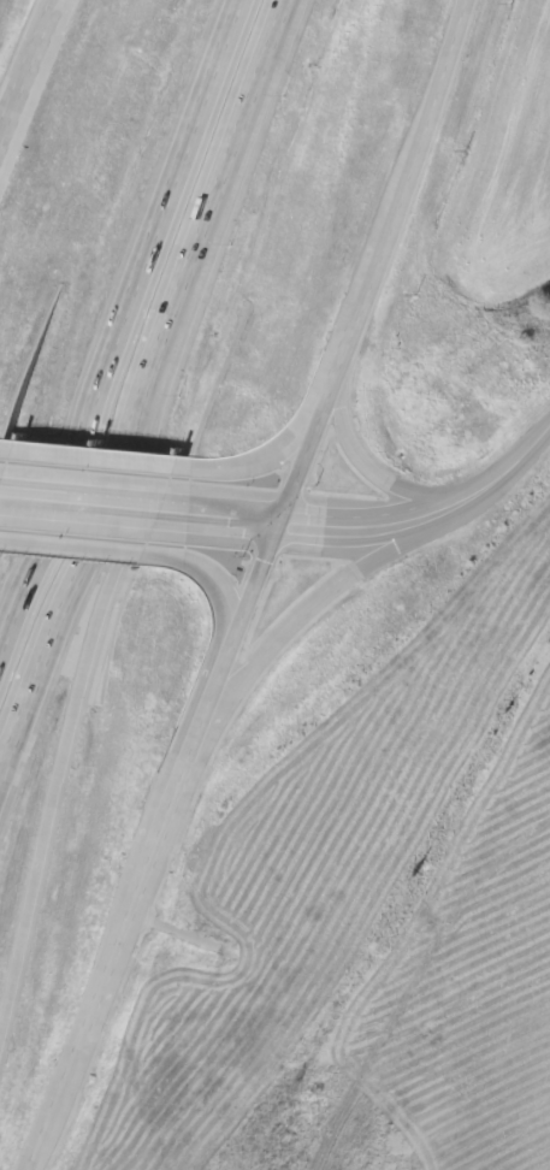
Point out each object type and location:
road: (25, 64)
road: (374, 261)
road: (117, 320)
road: (141, 383)
road: (272, 453)
road: (104, 457)
road: (384, 479)
road: (495, 480)
road: (87, 502)
road: (225, 516)
road: (353, 526)
road: (84, 549)
road: (224, 611)
road: (278, 633)
road: (83, 670)
road: (154, 845)
building: (88, 1007)

